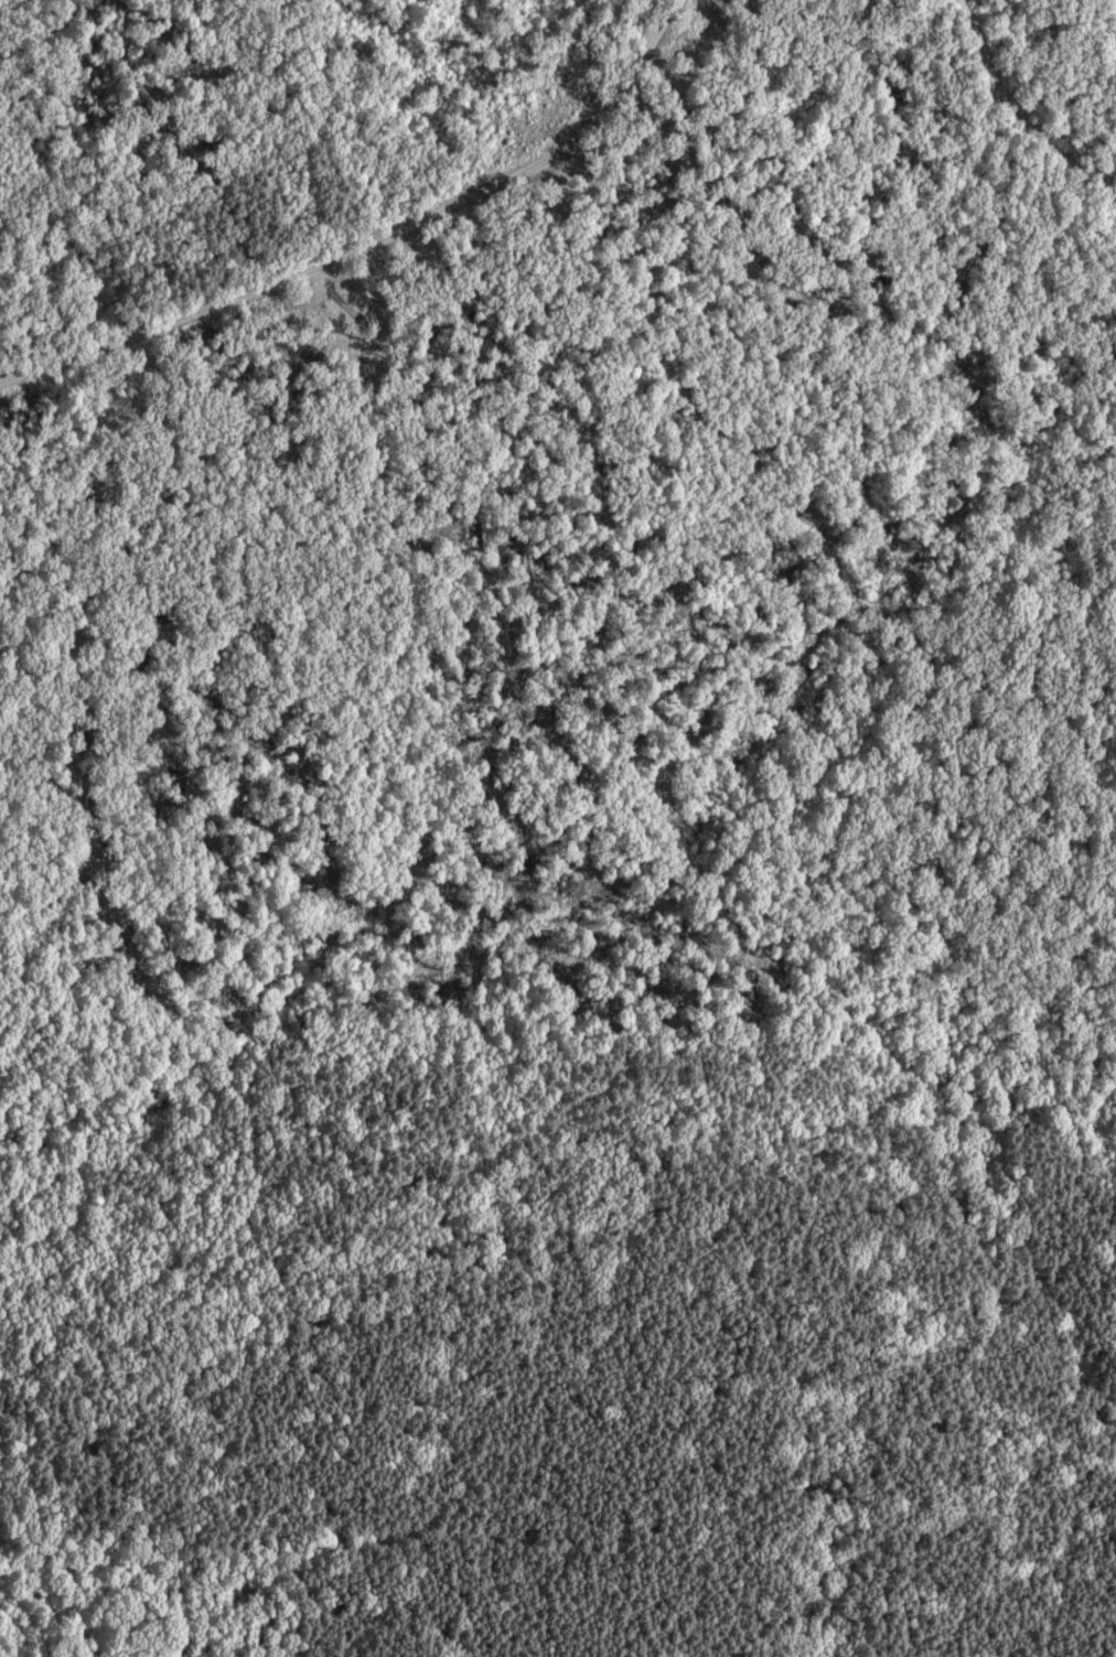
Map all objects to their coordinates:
road: (375, 246)

